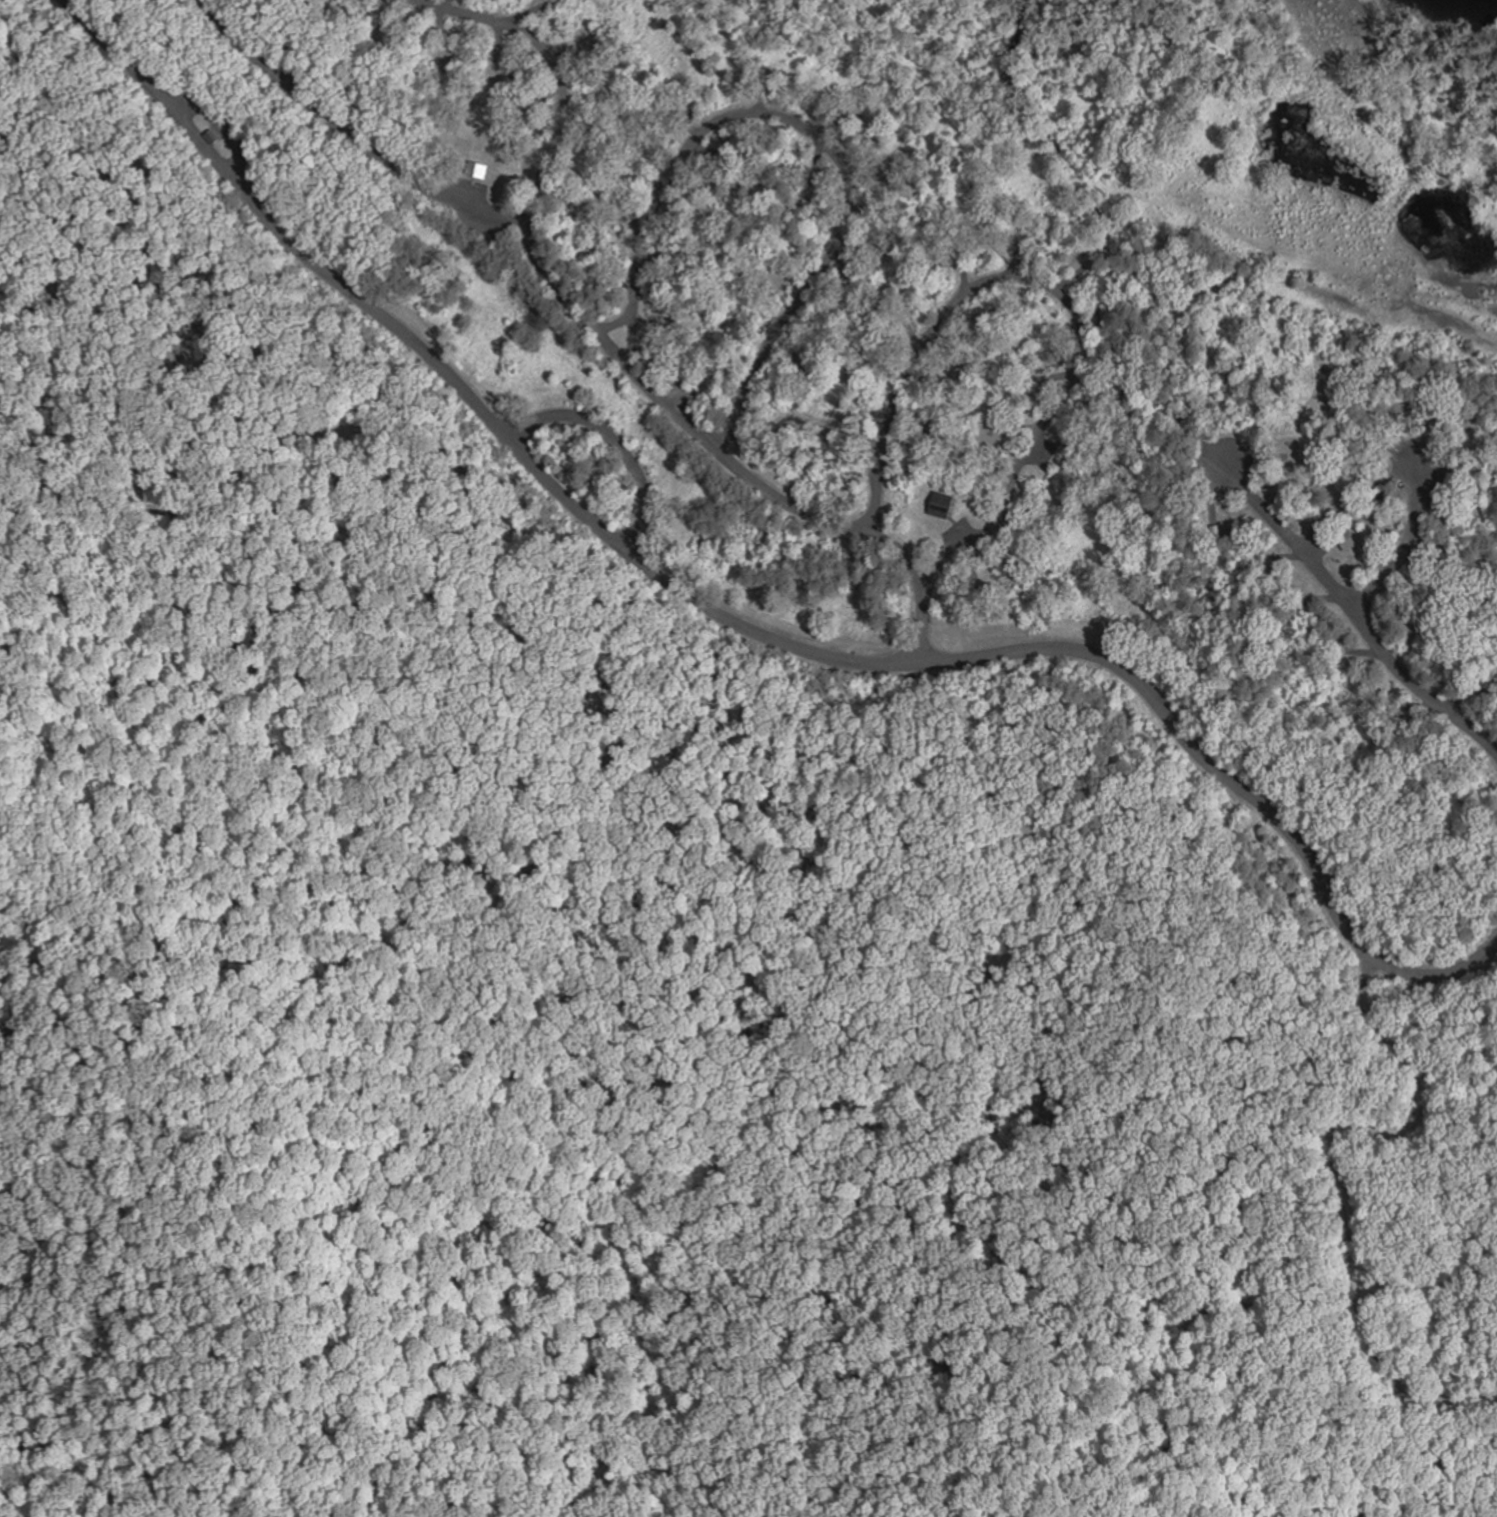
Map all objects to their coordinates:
road: (809, 132)
building: (475, 170)
road: (486, 210)
road: (1053, 290)
building: (803, 368)
road: (616, 441)
building: (1286, 453)
road: (726, 458)
building: (939, 504)
road: (1409, 537)
road: (1347, 604)
road: (736, 621)

